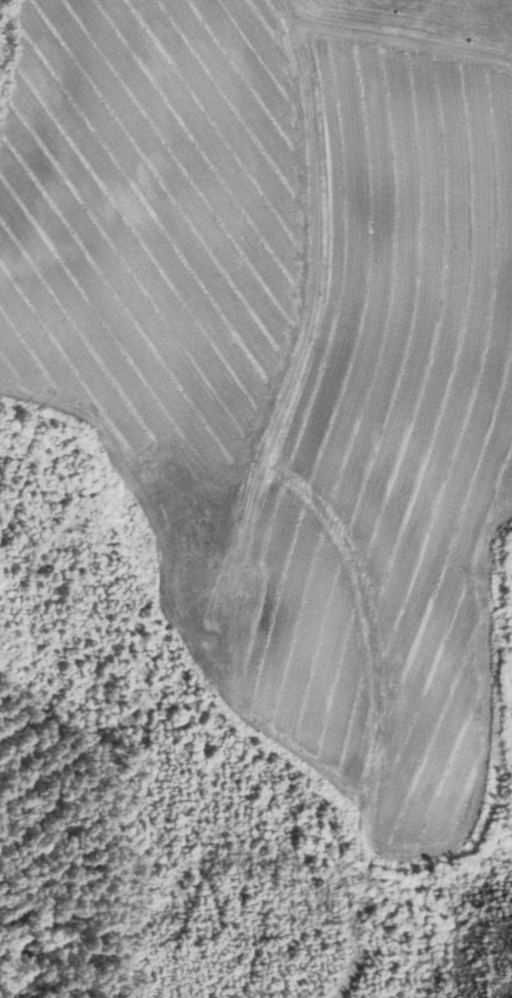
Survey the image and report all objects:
road: (313, 288)
building: (252, 578)

